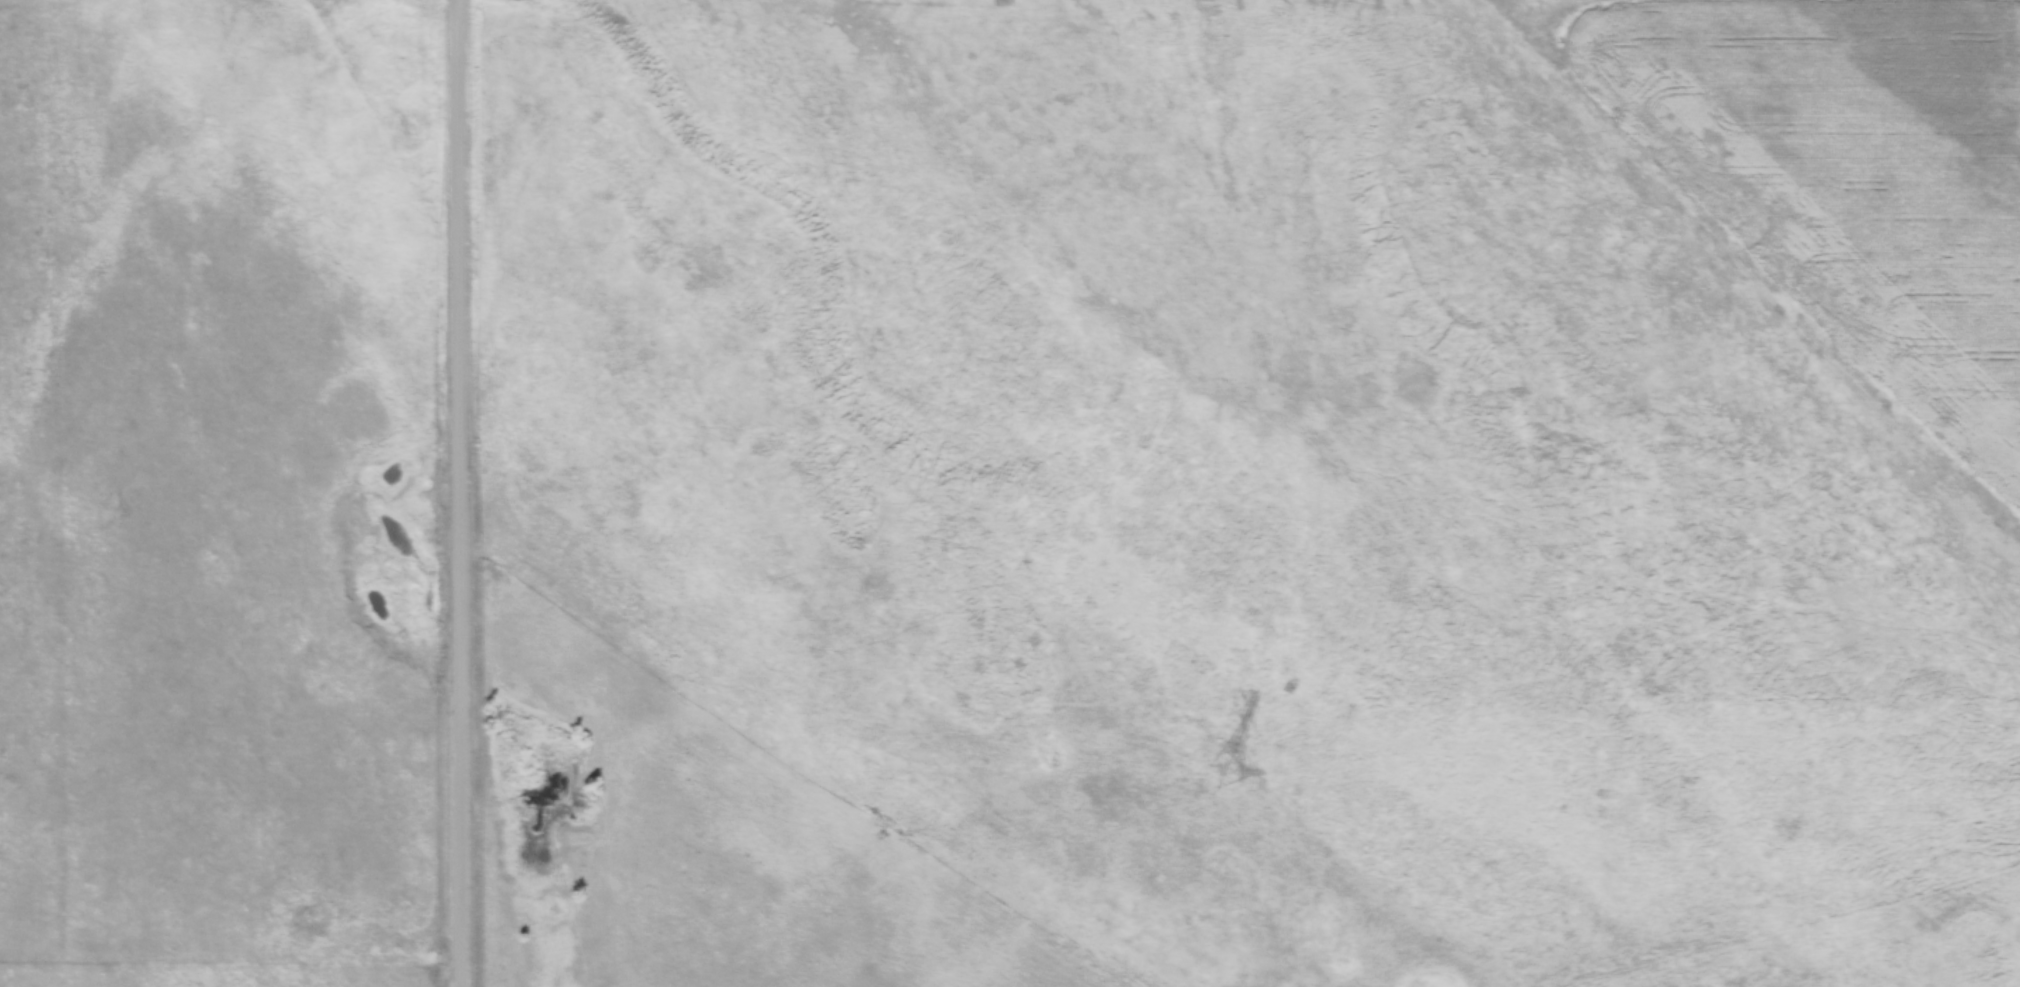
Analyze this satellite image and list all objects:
road: (462, 493)
power tower: (1218, 773)

